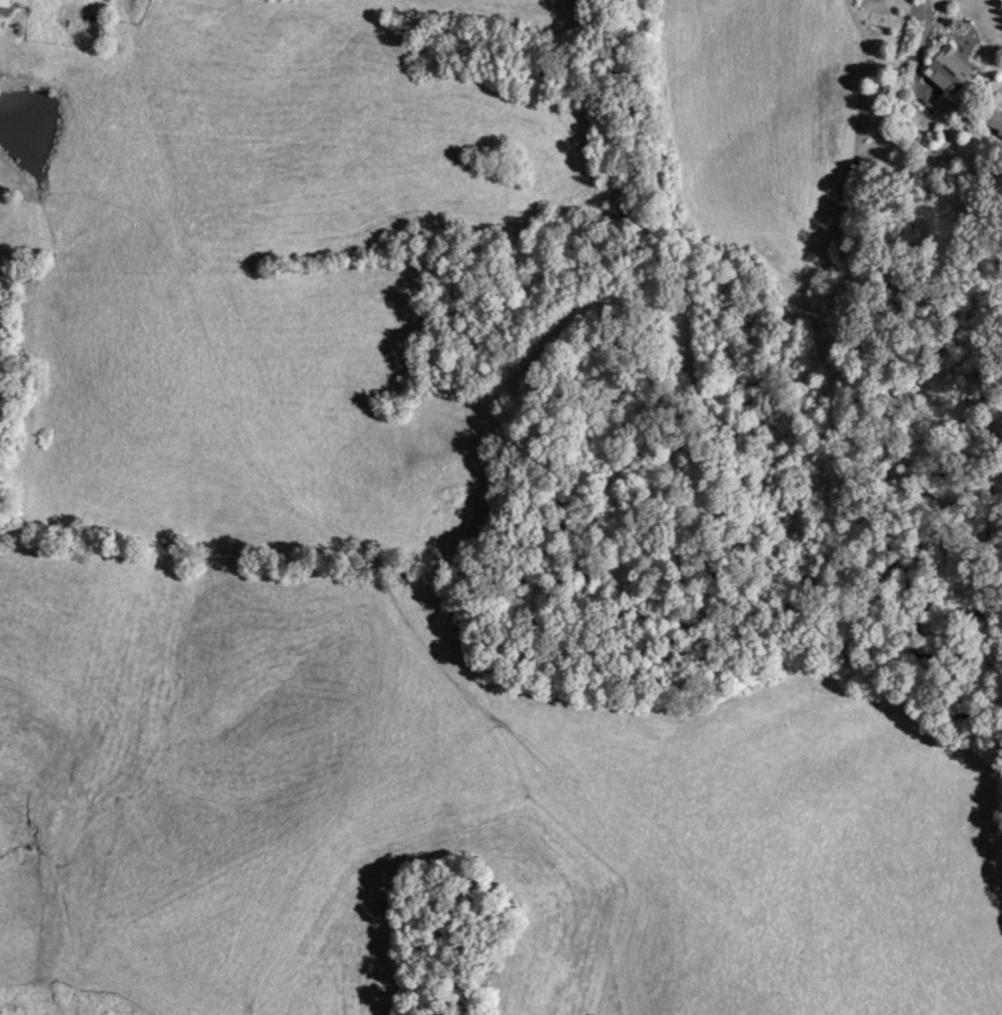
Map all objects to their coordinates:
building: (7, 3)
road: (921, 48)
building: (954, 71)
building: (994, 120)

